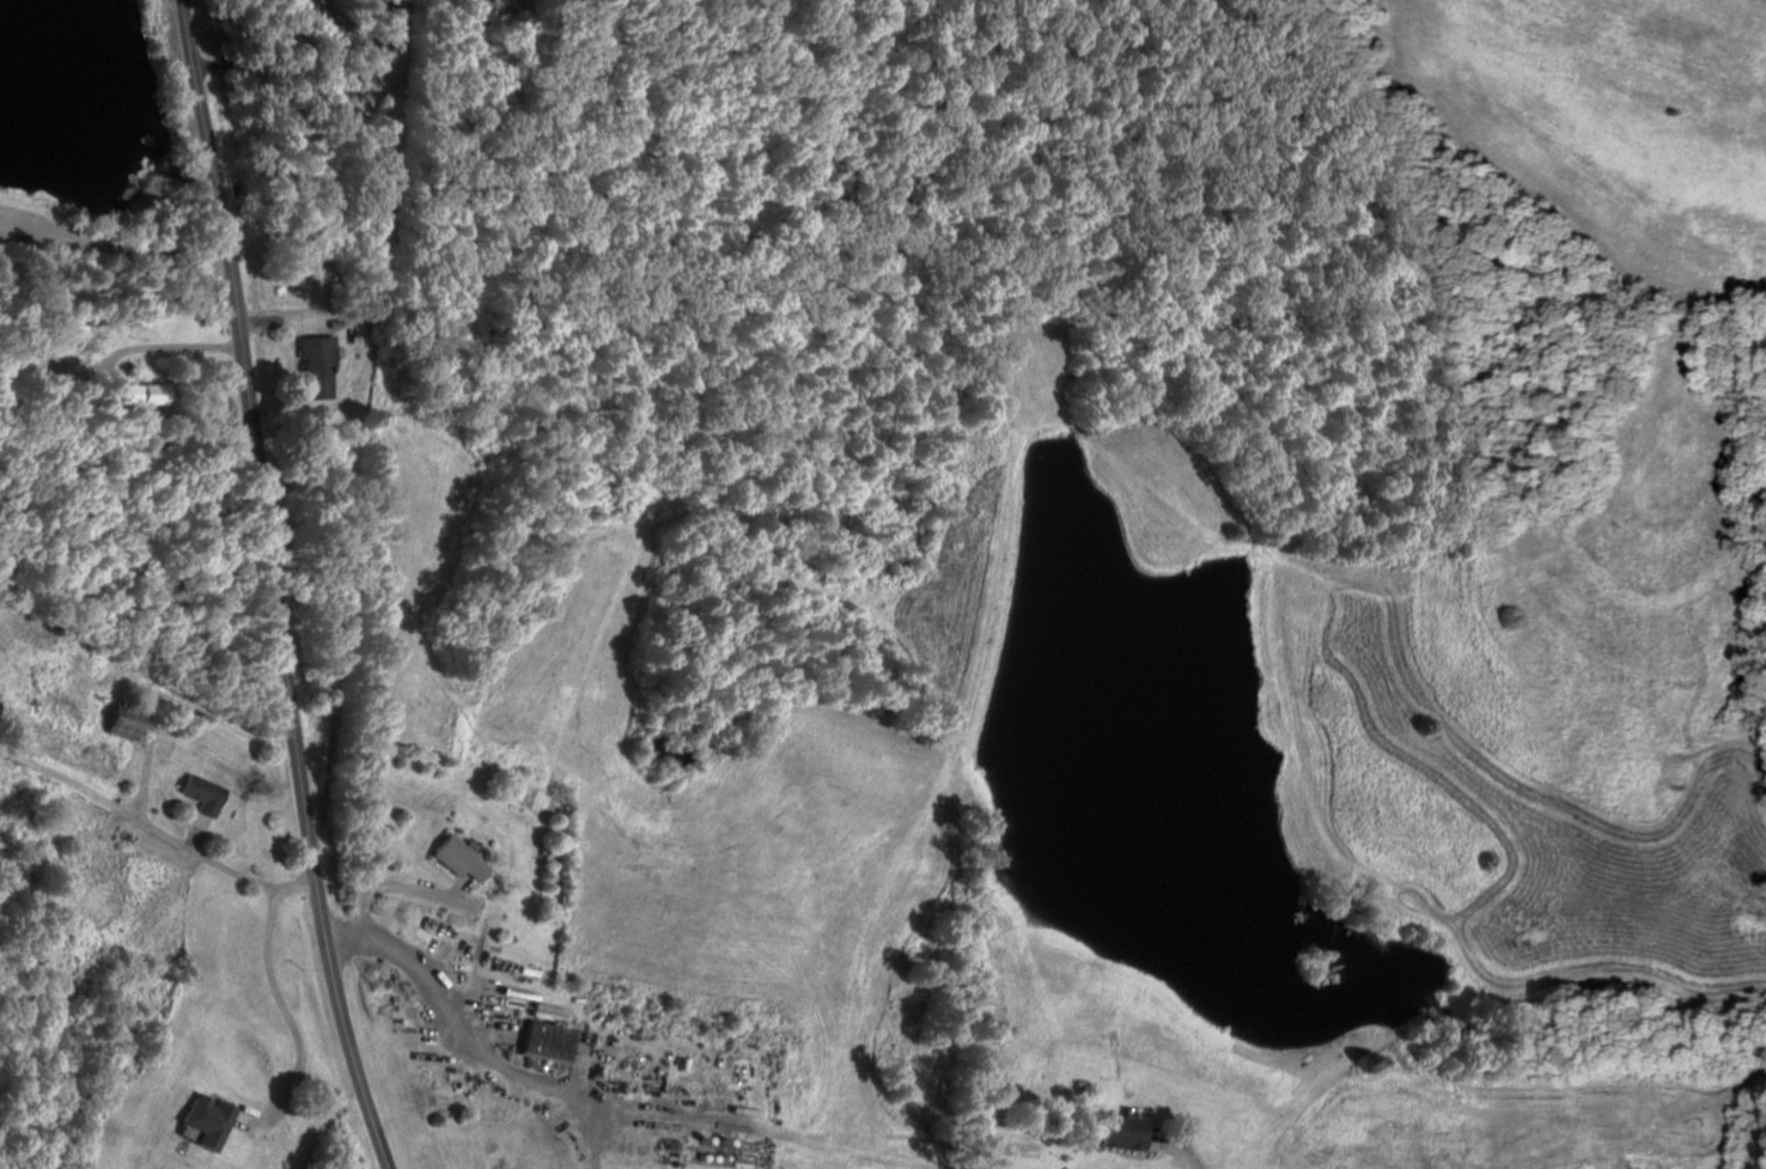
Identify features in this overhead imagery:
road: (115, 248)
building: (319, 365)
building: (145, 396)
road: (276, 587)
building: (126, 719)
building: (205, 793)
building: (464, 858)
building: (550, 1031)
building: (214, 1120)
building: (1127, 1131)
road: (1185, 1150)

